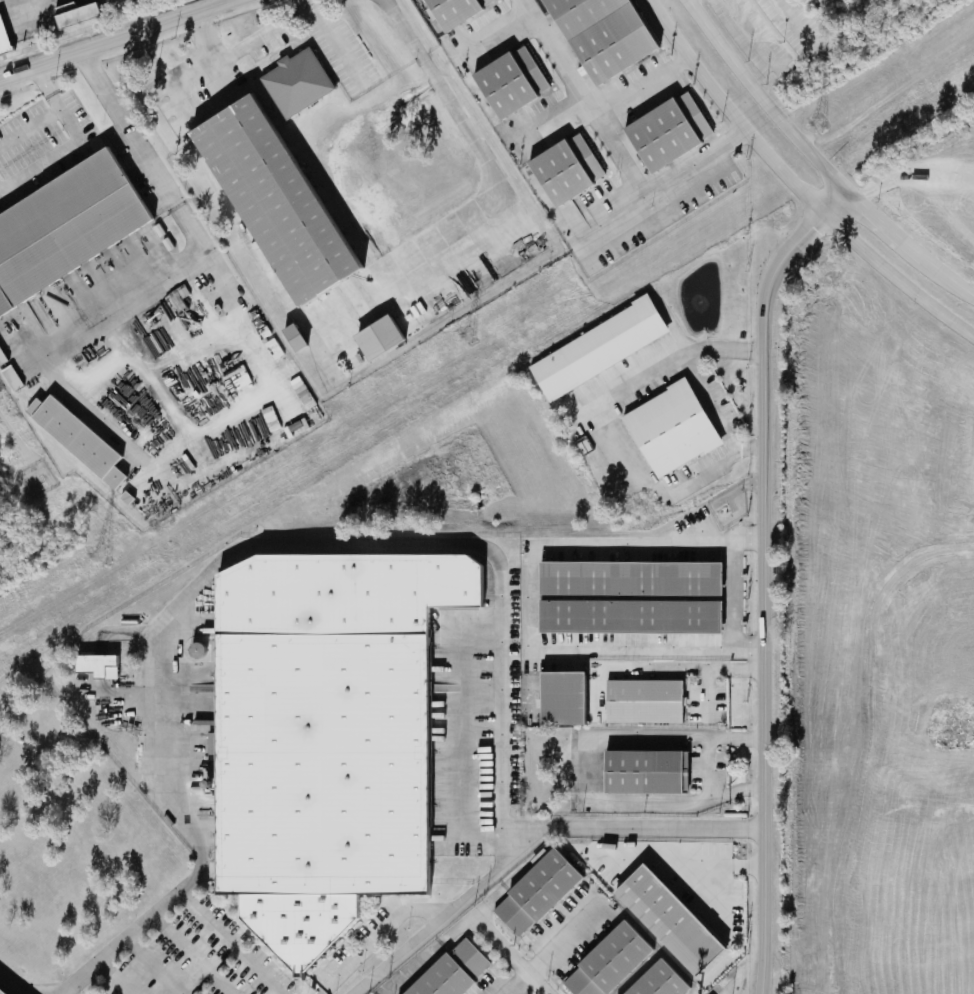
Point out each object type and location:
building: (451, 10)
building: (74, 14)
road: (659, 31)
road: (487, 34)
building: (598, 34)
road: (112, 38)
road: (204, 41)
building: (2, 42)
road: (723, 49)
road: (251, 50)
road: (339, 50)
road: (692, 58)
building: (508, 81)
building: (294, 82)
road: (641, 87)
road: (580, 99)
road: (56, 104)
road: (452, 114)
road: (540, 123)
power tower: (817, 126)
road: (29, 127)
building: (665, 131)
parking lot: (44, 143)
road: (804, 147)
road: (693, 161)
road: (40, 166)
road: (779, 167)
building: (563, 169)
road: (171, 202)
building: (263, 203)
road: (604, 221)
building: (64, 227)
road: (894, 234)
road: (897, 278)
road: (957, 287)
road: (120, 306)
road: (670, 321)
power tower: (468, 334)
building: (290, 337)
building: (372, 339)
building: (596, 349)
road: (656, 366)
road: (707, 402)
building: (669, 429)
building: (75, 439)
road: (136, 457)
road: (663, 493)
road: (649, 547)
road: (233, 552)
power tower: (100, 553)
road: (766, 577)
building: (629, 598)
road: (731, 598)
road: (529, 608)
road: (647, 647)
building: (93, 665)
road: (696, 669)
road: (706, 695)
building: (560, 698)
building: (641, 701)
road: (460, 729)
building: (322, 737)
road: (706, 767)
road: (584, 771)
building: (642, 772)
road: (632, 830)
road: (688, 860)
building: (533, 891)
road: (715, 898)
road: (442, 916)
building: (665, 918)
road: (464, 923)
road: (377, 934)
road: (229, 943)
road: (553, 947)
road: (189, 955)
road: (507, 955)
building: (606, 962)
road: (150, 967)
building: (449, 970)
road: (113, 978)
building: (656, 981)
road: (12, 984)

